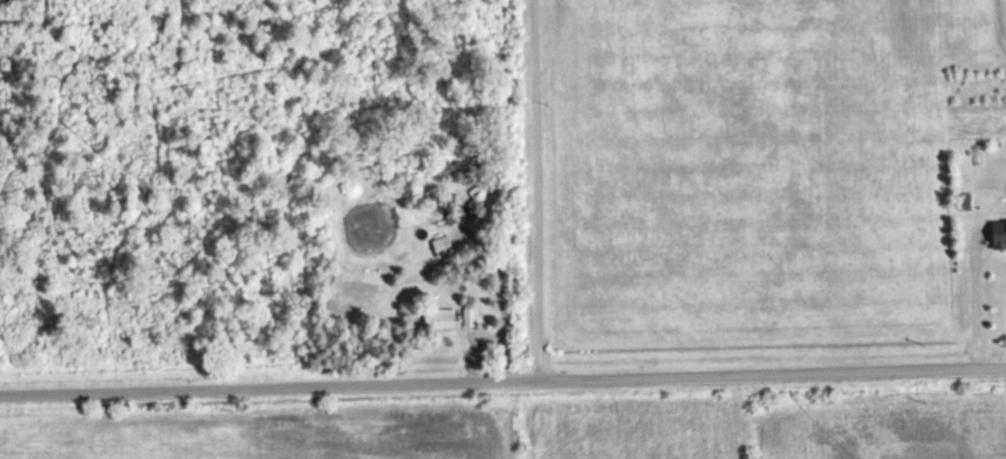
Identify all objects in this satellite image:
road: (541, 190)
building: (478, 196)
building: (1000, 234)
building: (444, 246)
road: (981, 300)
building: (470, 318)
building: (446, 319)
road: (503, 382)

